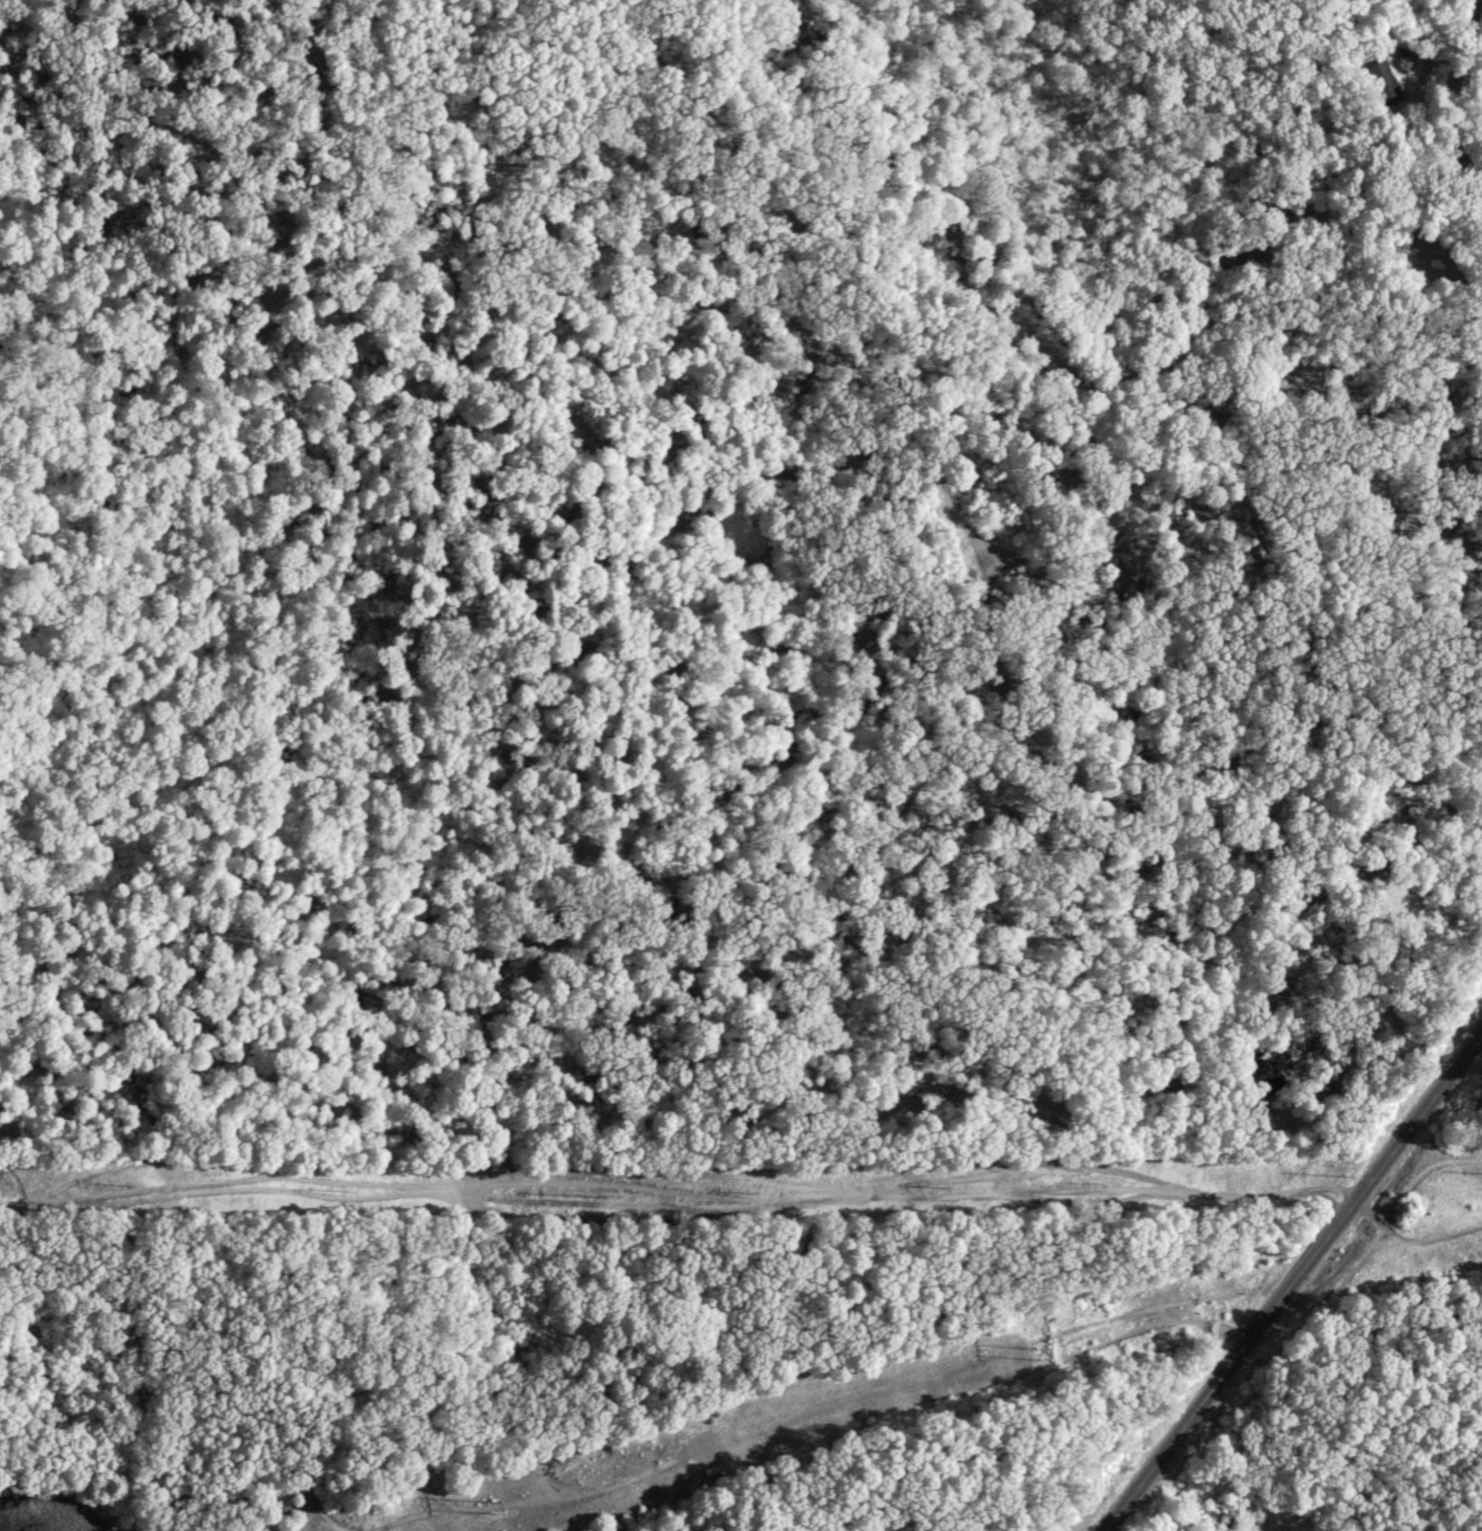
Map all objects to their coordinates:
building: (1396, 81)
road: (1455, 96)
road: (1292, 1280)

